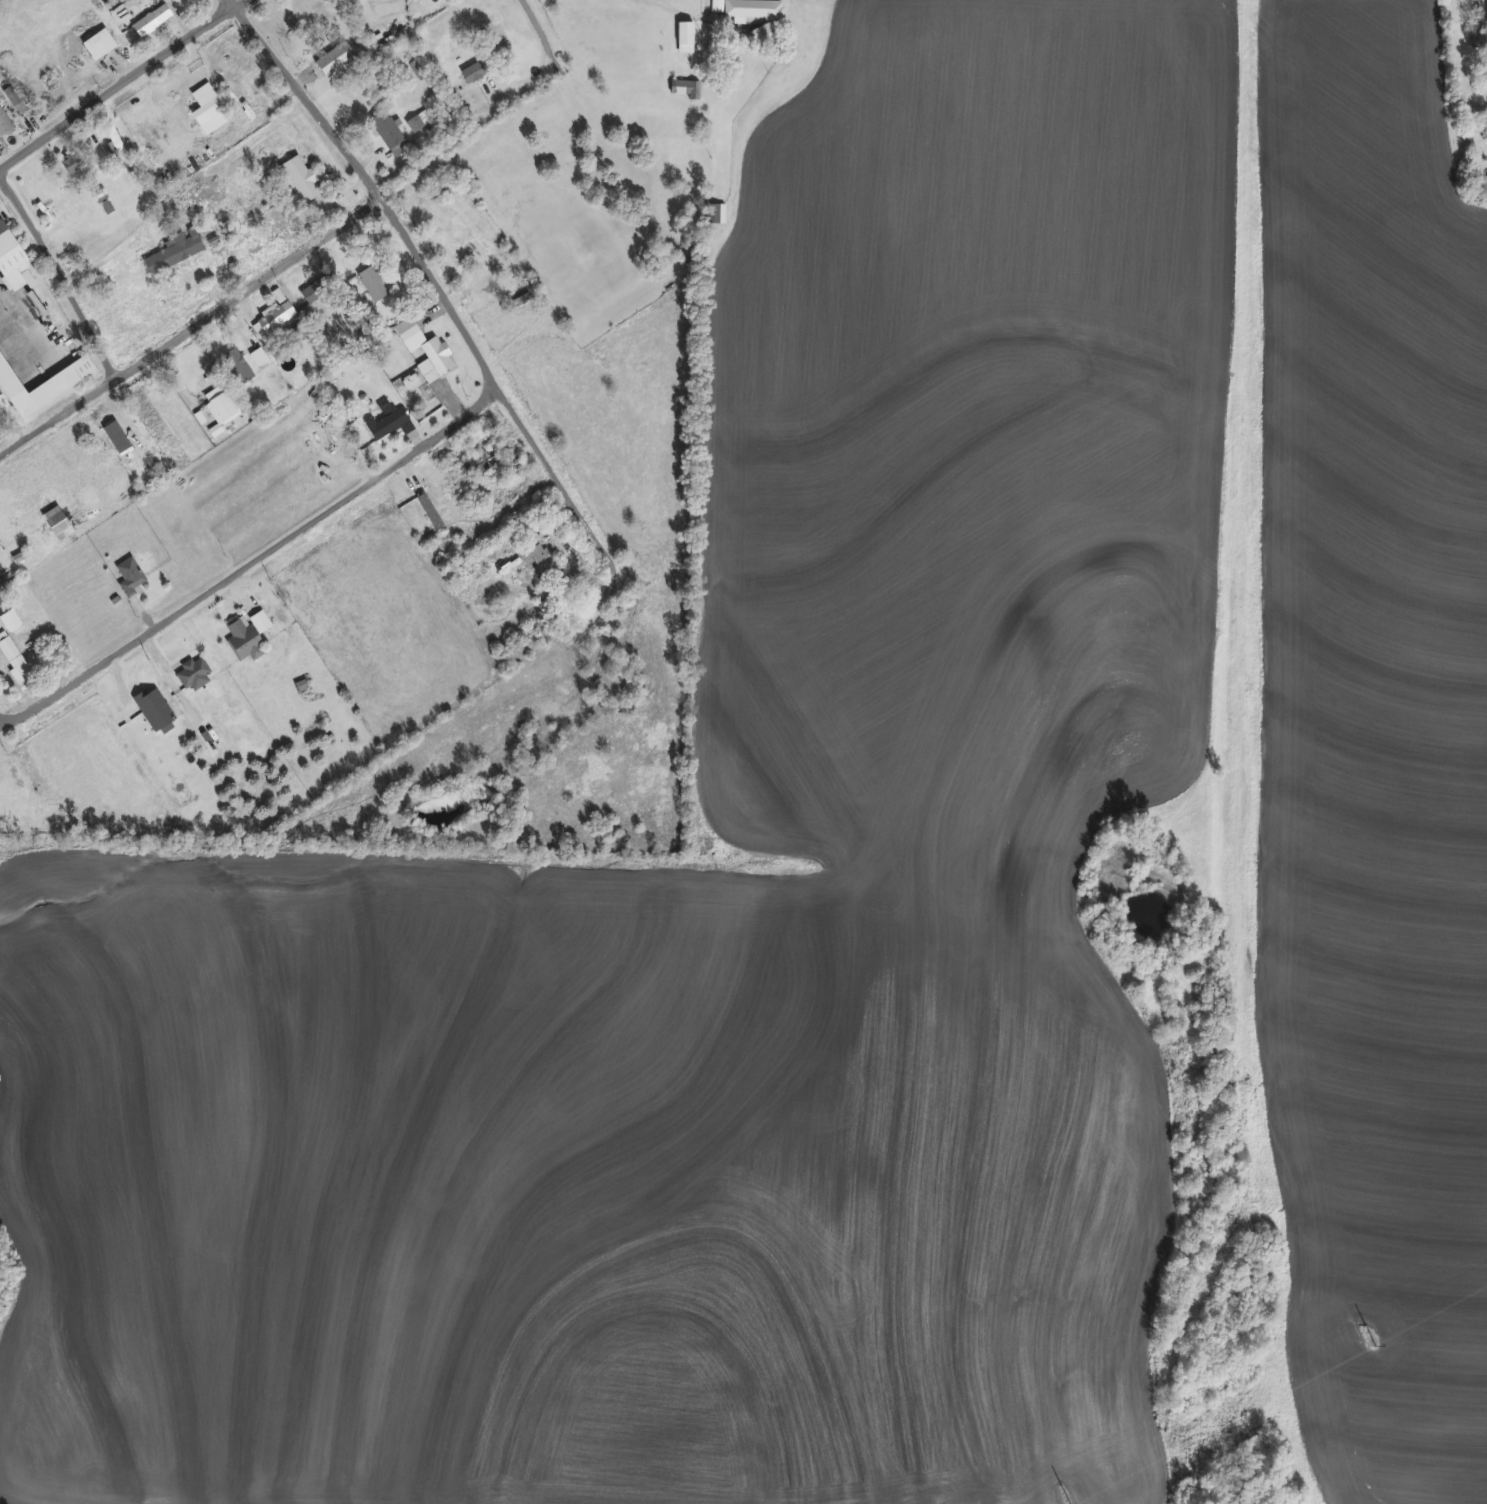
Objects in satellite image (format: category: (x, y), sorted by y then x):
building: (753, 9)
building: (321, 14)
building: (151, 20)
building: (494, 33)
building: (685, 37)
building: (98, 44)
road: (546, 49)
building: (334, 59)
road: (1455, 64)
building: (474, 71)
road: (125, 84)
building: (4, 123)
building: (389, 134)
building: (114, 142)
building: (301, 178)
building: (440, 213)
building: (716, 214)
building: (174, 253)
building: (10, 255)
road: (102, 258)
road: (420, 272)
road: (57, 276)
building: (508, 276)
building: (372, 284)
building: (309, 294)
building: (273, 319)
road: (188, 328)
road: (13, 339)
building: (423, 345)
building: (238, 366)
building: (8, 378)
building: (187, 378)
building: (390, 424)
building: (483, 464)
building: (47, 537)
building: (538, 560)
road: (248, 562)
building: (129, 575)
road: (603, 583)
building: (245, 641)
building: (15, 662)
building: (193, 675)
building: (520, 827)
power tower: (1365, 1338)
power tower: (1059, 1495)

